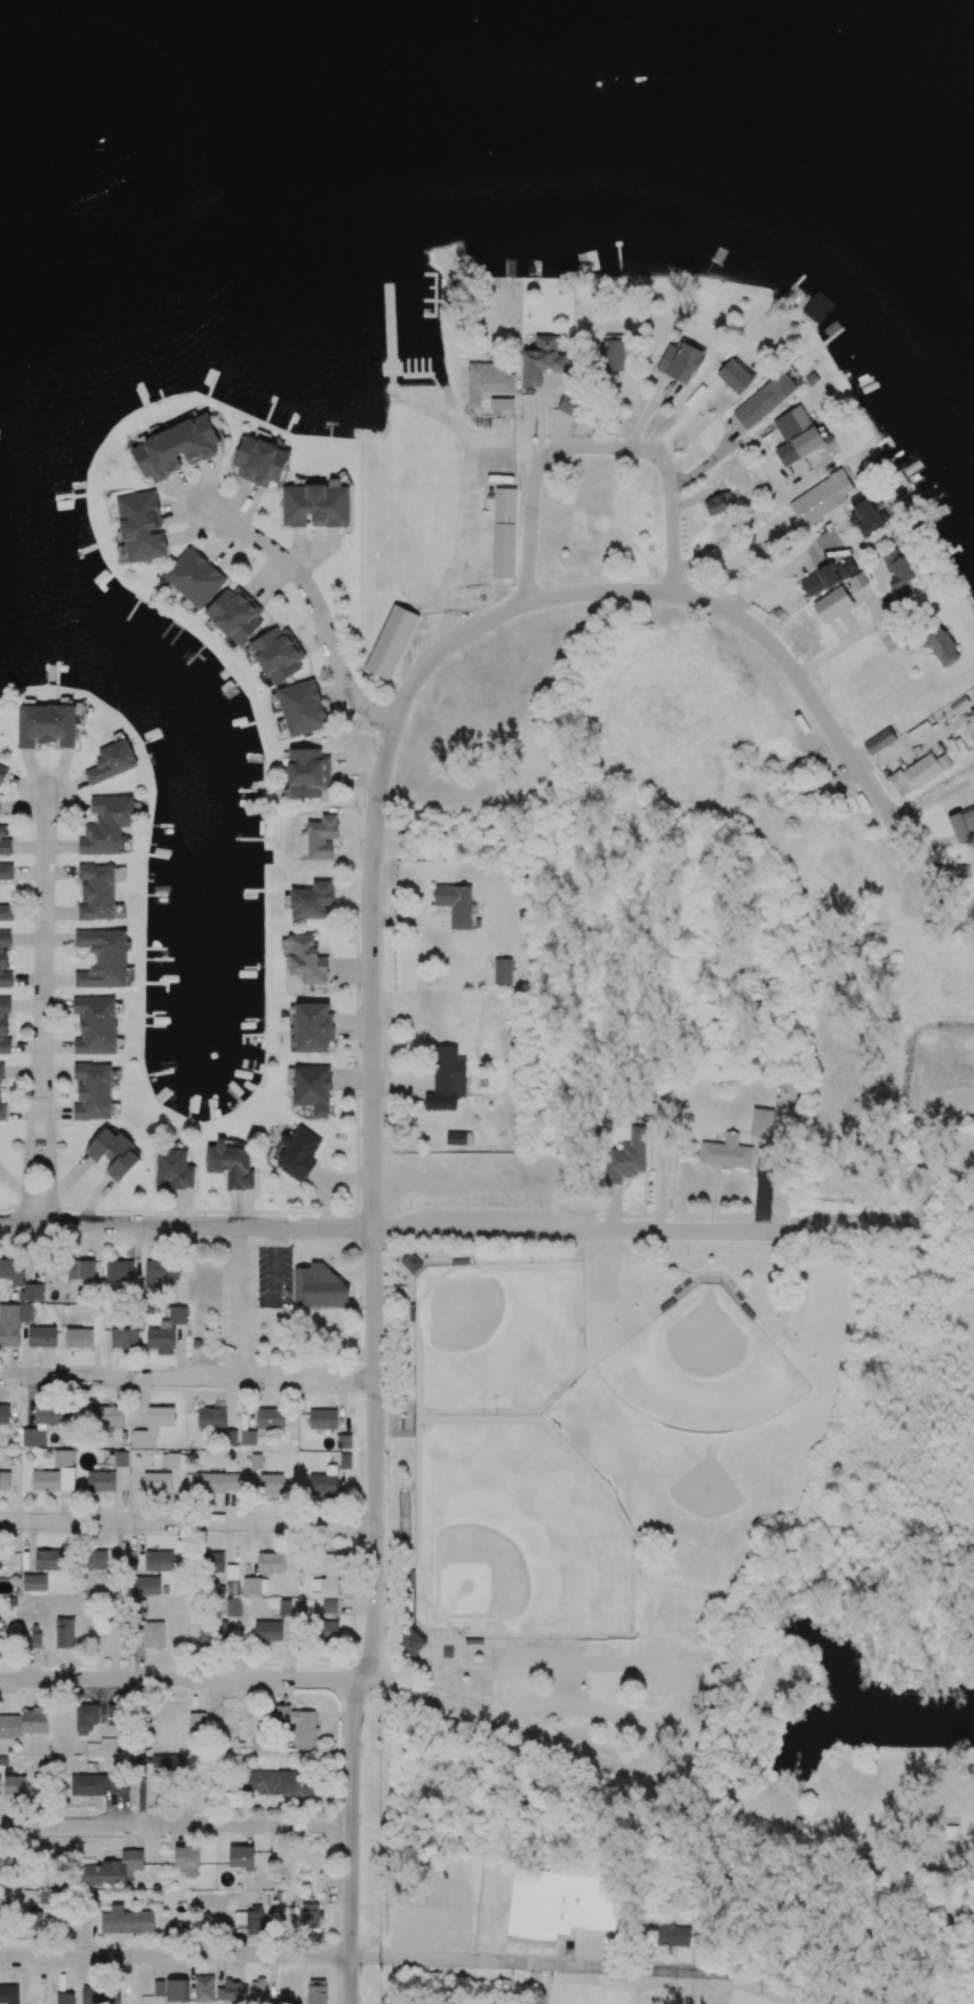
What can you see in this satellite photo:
park: (185, 150)
park: (891, 230)
building: (817, 307)
building: (613, 353)
building: (542, 360)
building: (680, 362)
building: (734, 377)
building: (487, 381)
building: (767, 398)
building: (571, 403)
building: (801, 430)
road: (506, 439)
road: (598, 447)
building: (175, 448)
road: (717, 452)
building: (883, 461)
building: (260, 462)
building: (821, 498)
building: (720, 503)
building: (316, 506)
road: (757, 513)
building: (867, 513)
building: (141, 527)
road: (458, 527)
building: (504, 533)
building: (890, 555)
building: (900, 576)
building: (827, 577)
road: (768, 580)
building: (858, 580)
building: (213, 595)
road: (696, 598)
road: (316, 602)
building: (832, 604)
road: (431, 631)
road: (848, 641)
building: (391, 642)
building: (941, 647)
building: (278, 655)
building: (302, 708)
building: (971, 722)
building: (46, 725)
building: (879, 741)
building: (112, 762)
building: (2, 772)
building: (308, 773)
building: (919, 773)
road: (933, 797)
building: (963, 824)
building: (107, 825)
building: (321, 837)
building: (4, 842)
building: (952, 871)
building: (6, 873)
building: (96, 892)
building: (312, 901)
building: (455, 904)
building: (6, 910)
road: (45, 942)
building: (103, 959)
building: (5, 960)
building: (307, 960)
building: (503, 972)
building: (96, 1025)
building: (4, 1026)
building: (313, 1027)
building: (448, 1073)
building: (312, 1089)
building: (0, 1092)
building: (93, 1092)
building: (762, 1124)
building: (458, 1136)
building: (726, 1152)
building: (296, 1153)
road: (30, 1154)
building: (113, 1154)
road: (52, 1155)
building: (626, 1157)
building: (230, 1164)
building: (174, 1170)
park: (479, 1180)
road: (394, 1227)
building: (411, 1263)
building: (81, 1269)
building: (119, 1270)
building: (12, 1271)
building: (160, 1272)
building: (318, 1287)
building: (31, 1292)
road: (240, 1302)
building: (26, 1313)
building: (9, 1325)
building: (166, 1331)
building: (42, 1336)
park: (497, 1337)
building: (79, 1338)
building: (124, 1338)
road: (374, 1341)
park: (703, 1369)
road: (187, 1378)
building: (4, 1414)
building: (105, 1416)
building: (212, 1416)
building: (270, 1419)
building: (323, 1420)
building: (153, 1426)
building: (230, 1438)
building: (248, 1438)
building: (173, 1461)
building: (255, 1461)
building: (345, 1461)
park: (637, 1471)
building: (55, 1474)
building: (100, 1482)
building: (156, 1482)
building: (216, 1483)
building: (271, 1484)
building: (323, 1485)
road: (188, 1522)
park: (517, 1535)
building: (95, 1559)
building: (159, 1561)
building: (211, 1562)
building: (271, 1563)
building: (42, 1569)
building: (325, 1574)
building: (232, 1580)
building: (146, 1586)
building: (255, 1586)
building: (233, 1607)
building: (329, 1607)
building: (286, 1608)
building: (328, 1630)
building: (268, 1631)
building: (211, 1632)
building: (64, 1633)
building: (153, 1636)
building: (36, 1640)
building: (411, 1641)
road: (181, 1679)
building: (86, 1719)
building: (197, 1721)
building: (23, 1724)
building: (297, 1725)
road: (507, 1728)
building: (168, 1762)
building: (278, 1782)
building: (88, 1785)
building: (119, 1785)
road: (175, 1823)
road: (805, 1853)
building: (241, 1857)
building: (187, 1860)
building: (113, 1869)
building: (49, 1897)
park: (623, 1898)
building: (557, 1905)
building: (310, 1915)
building: (35, 1917)
building: (126, 1921)
building: (251, 1921)
building: (672, 1934)
road: (372, 1957)
road: (776, 1987)
building: (160, 1988)
building: (204, 1989)
building: (179, 1990)
building: (232, 1990)
building: (257, 1991)
building: (316, 1992)
building: (9, 1994)
building: (100, 1995)
building: (65, 1998)
park: (746, 1999)
park: (769, 2003)

